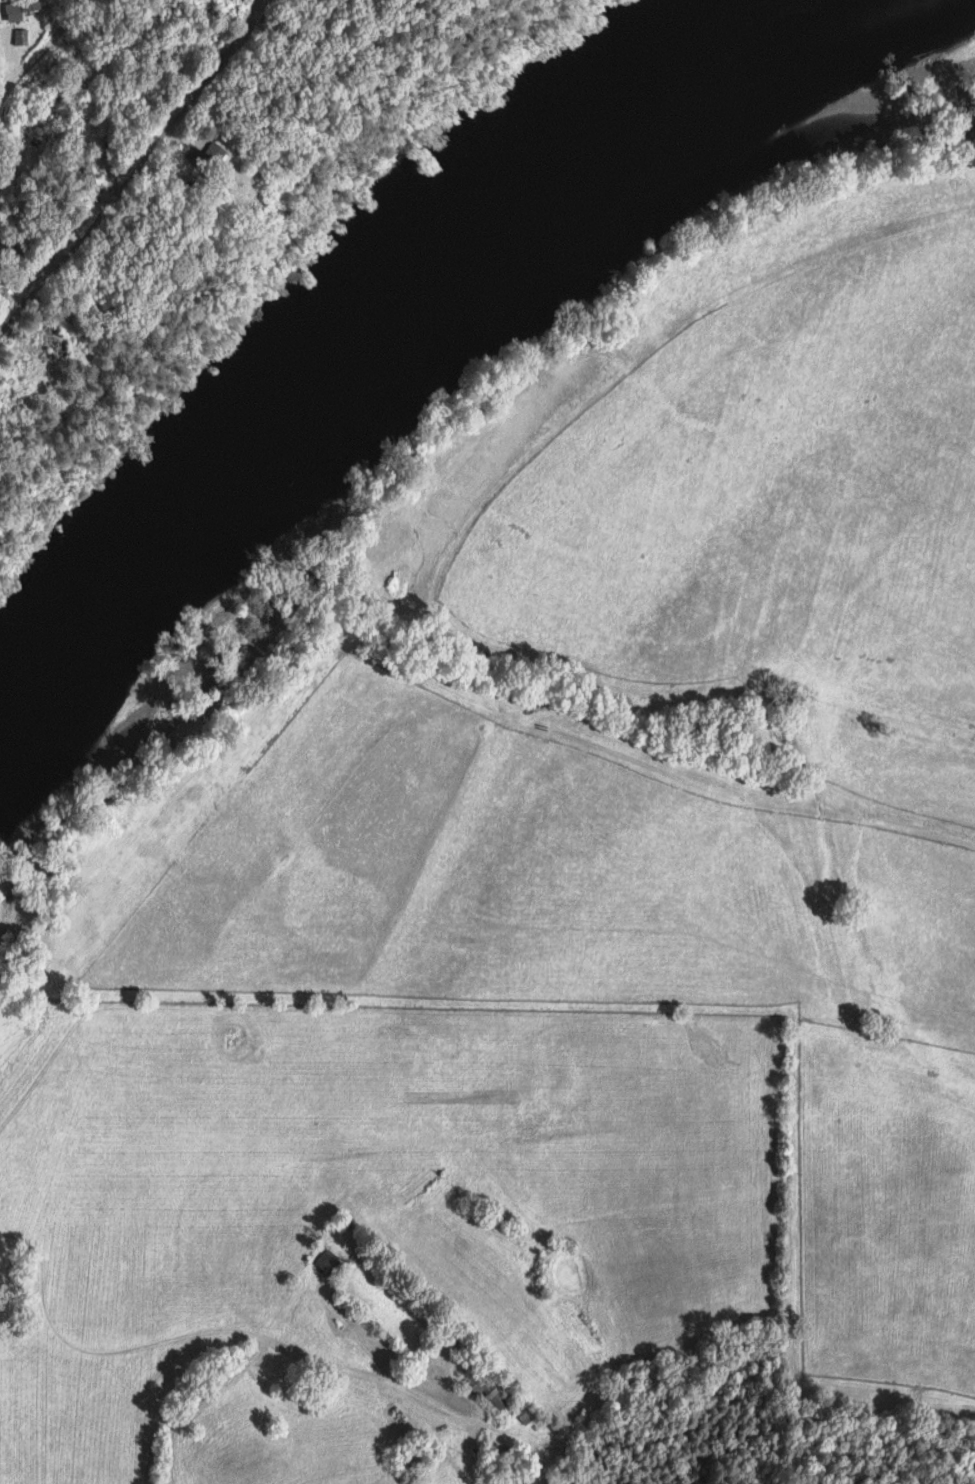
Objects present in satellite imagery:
building: (24, 8)
road: (71, 8)
building: (22, 37)
road: (43, 50)
road: (5, 60)
road: (28, 93)
building: (213, 155)
road: (141, 176)
river: (353, 347)
road: (422, 596)
building: (327, 1262)
building: (489, 1393)
road: (417, 1395)
building: (523, 1480)

